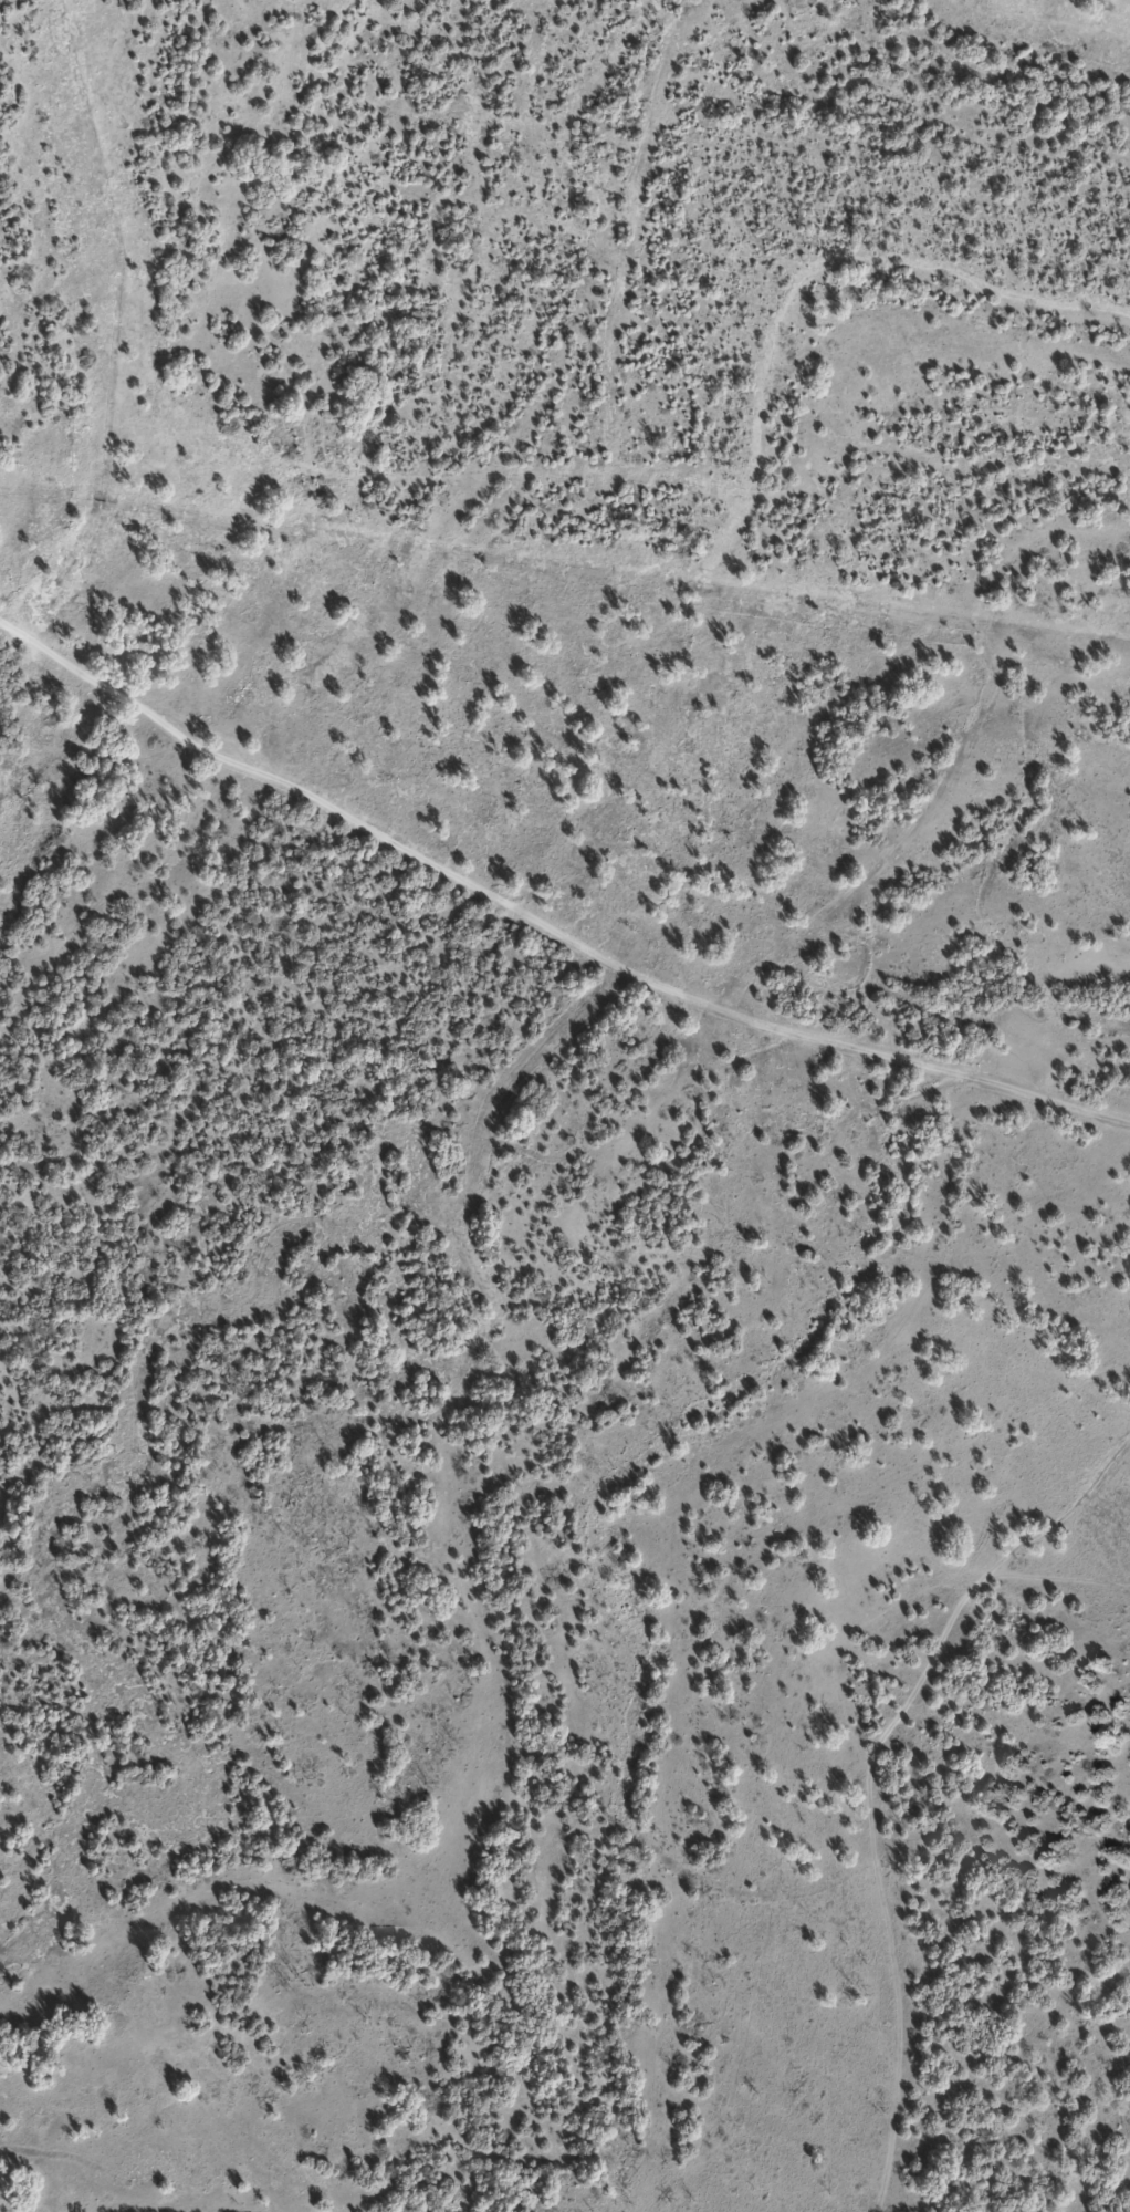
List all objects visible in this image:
road: (551, 944)

